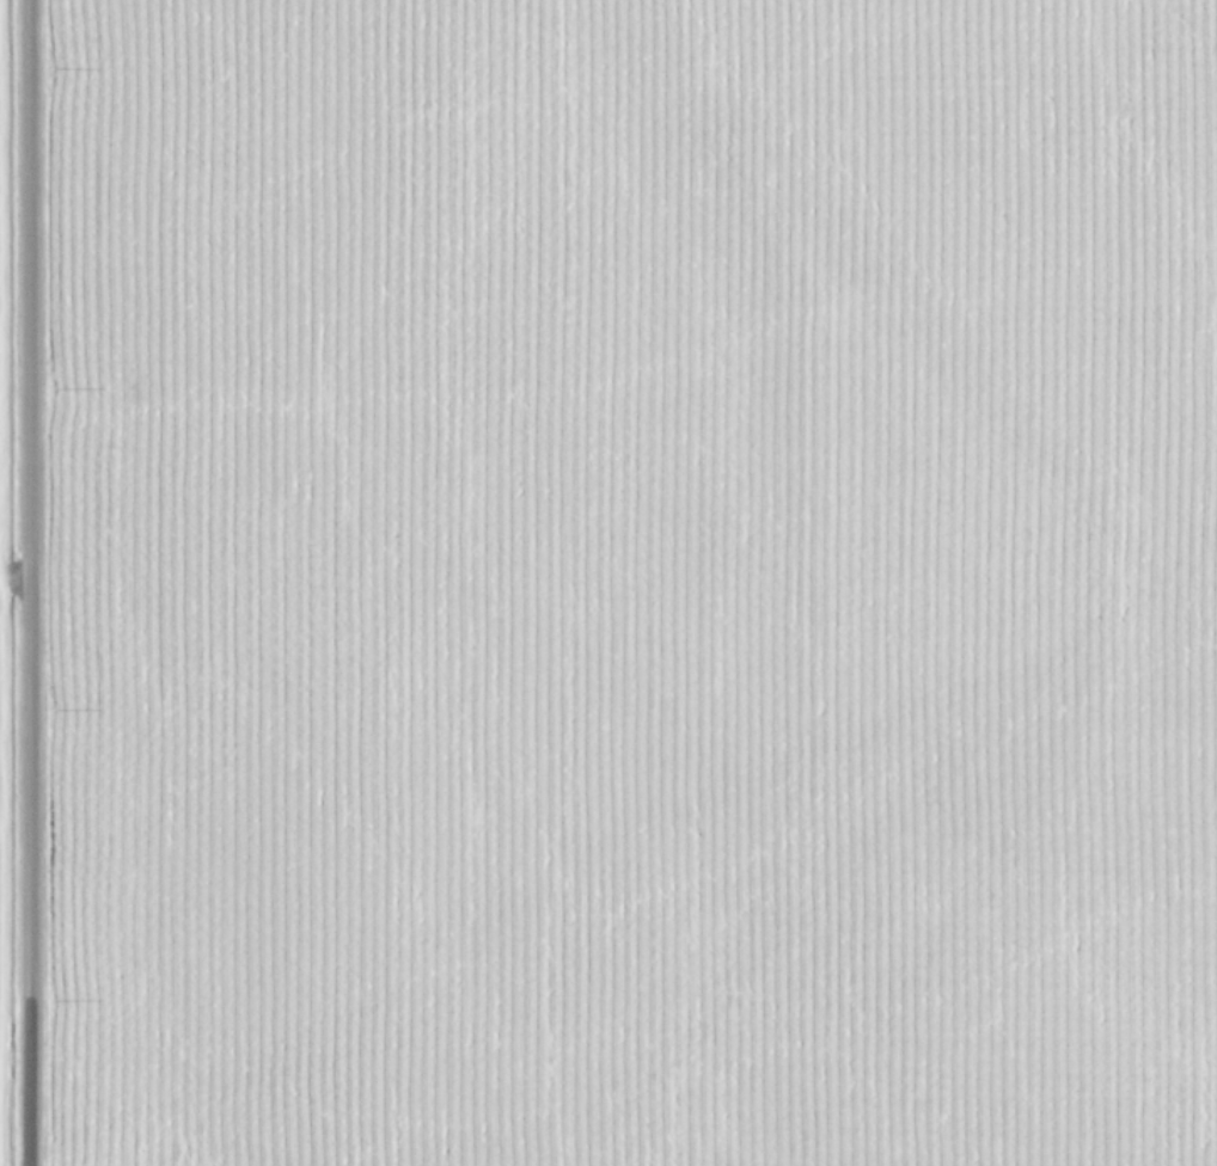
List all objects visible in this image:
road: (19, 583)
crop: (608, 583)

